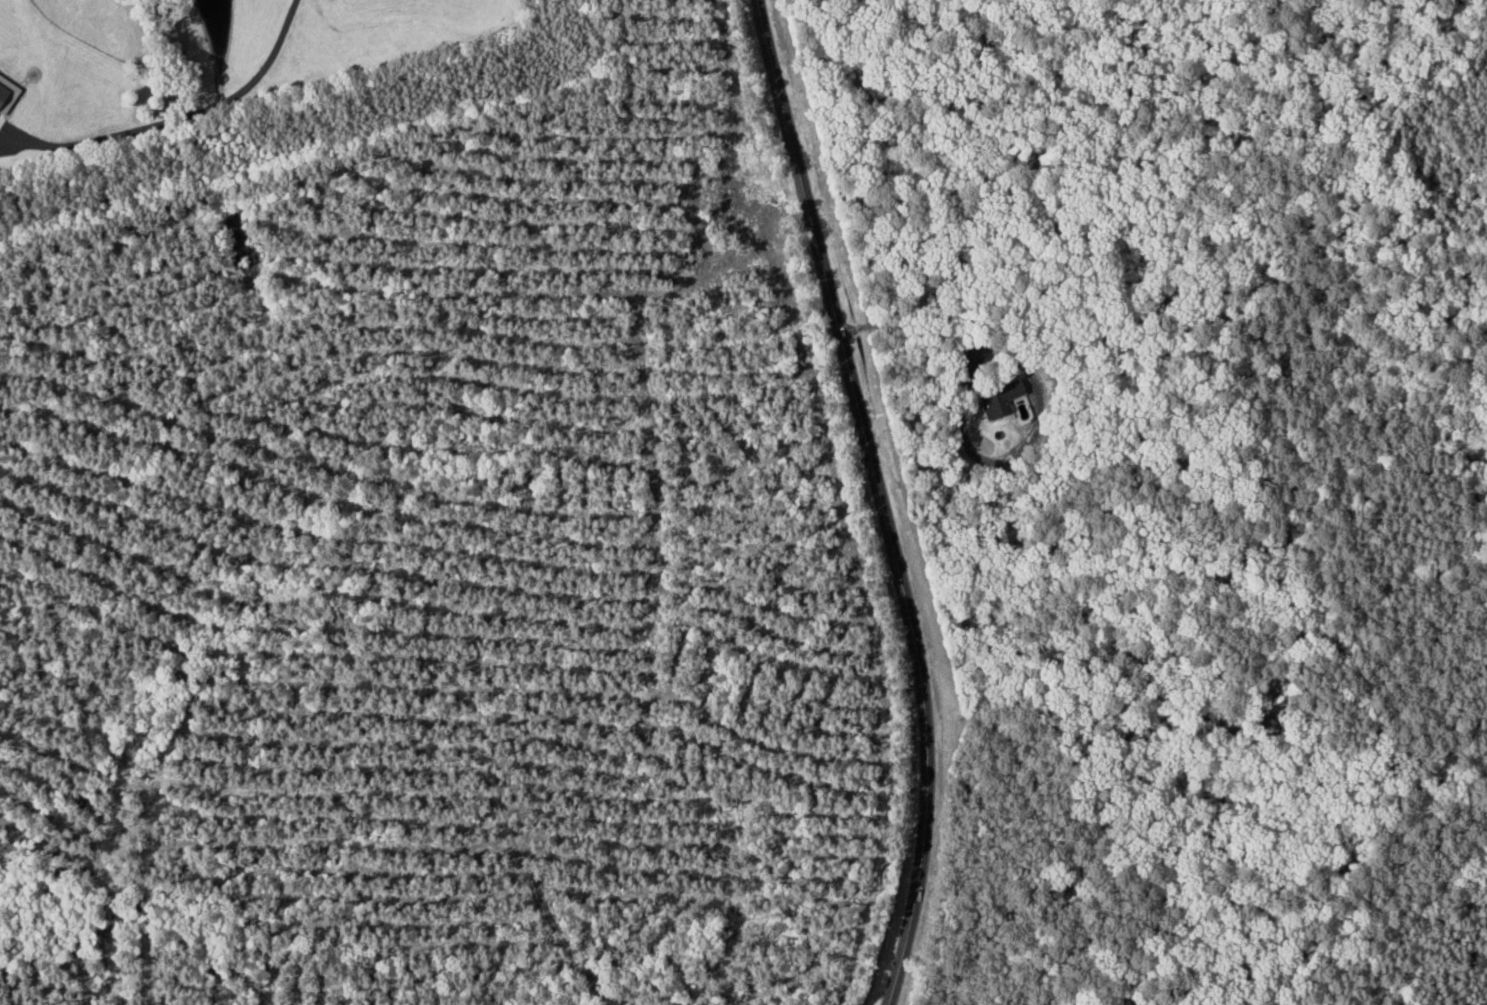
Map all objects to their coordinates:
building: (5, 93)
building: (997, 398)
road: (881, 499)

